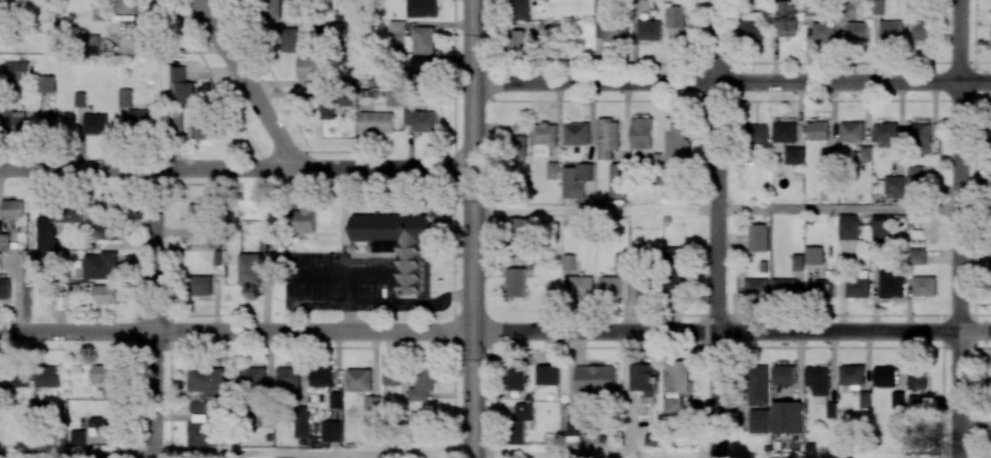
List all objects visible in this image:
building: (126, 6)
building: (878, 6)
building: (421, 8)
building: (273, 9)
building: (518, 9)
building: (786, 18)
building: (674, 22)
building: (752, 25)
building: (397, 26)
building: (648, 30)
building: (857, 31)
building: (891, 31)
building: (922, 31)
building: (547, 32)
building: (610, 32)
building: (823, 32)
building: (142, 35)
building: (291, 39)
building: (420, 40)
building: (517, 40)
building: (89, 43)
building: (311, 68)
building: (421, 69)
building: (17, 70)
building: (46, 83)
road: (731, 83)
road: (248, 84)
building: (181, 85)
building: (125, 98)
building: (393, 98)
building: (80, 99)
building: (328, 109)
building: (141, 119)
building: (422, 120)
building: (12, 121)
building: (177, 121)
building: (375, 122)
building: (95, 123)
building: (54, 124)
building: (198, 128)
building: (817, 130)
building: (851, 131)
building: (641, 132)
building: (575, 133)
building: (757, 134)
building: (543, 137)
building: (607, 137)
building: (919, 138)
building: (778, 144)
building: (674, 146)
building: (517, 147)
building: (827, 158)
road: (236, 168)
building: (553, 170)
building: (915, 179)
building: (576, 180)
building: (616, 181)
building: (889, 186)
building: (989, 191)
road: (594, 207)
road: (839, 208)
building: (12, 209)
building: (197, 216)
building: (305, 220)
building: (848, 227)
road: (472, 228)
building: (516, 228)
building: (880, 228)
road: (717, 229)
road: (961, 229)
building: (107, 231)
building: (45, 236)
building: (758, 237)
building: (4, 241)
building: (398, 242)
building: (814, 255)
building: (917, 256)
building: (0, 261)
building: (568, 262)
building: (797, 262)
building: (100, 265)
building: (251, 267)
building: (675, 271)
building: (515, 282)
building: (891, 283)
building: (200, 285)
building: (580, 285)
building: (609, 286)
building: (756, 286)
building: (924, 286)
building: (784, 287)
building: (824, 288)
building: (857, 288)
building: (5, 289)
building: (106, 294)
road: (399, 303)
road: (155, 313)
road: (236, 330)
road: (731, 330)
building: (391, 374)
building: (547, 374)
building: (783, 374)
building: (851, 374)
building: (49, 376)
building: (321, 376)
building: (677, 376)
building: (885, 376)
building: (16, 377)
building: (517, 377)
building: (645, 377)
building: (104, 378)
building: (288, 378)
building: (358, 379)
building: (595, 379)
building: (917, 379)
building: (207, 380)
building: (253, 380)
building: (818, 382)
building: (758, 384)
building: (422, 385)
building: (864, 399)
building: (335, 400)
building: (897, 400)
building: (198, 406)
building: (673, 409)
building: (831, 410)
building: (786, 417)
building: (262, 418)
building: (758, 420)
building: (300, 421)
building: (521, 421)
building: (579, 423)
building: (419, 426)
building: (990, 427)
building: (331, 430)
building: (202, 433)
building: (77, 437)
building: (653, 440)
road: (594, 453)
road: (77, 454)
road: (313, 454)

